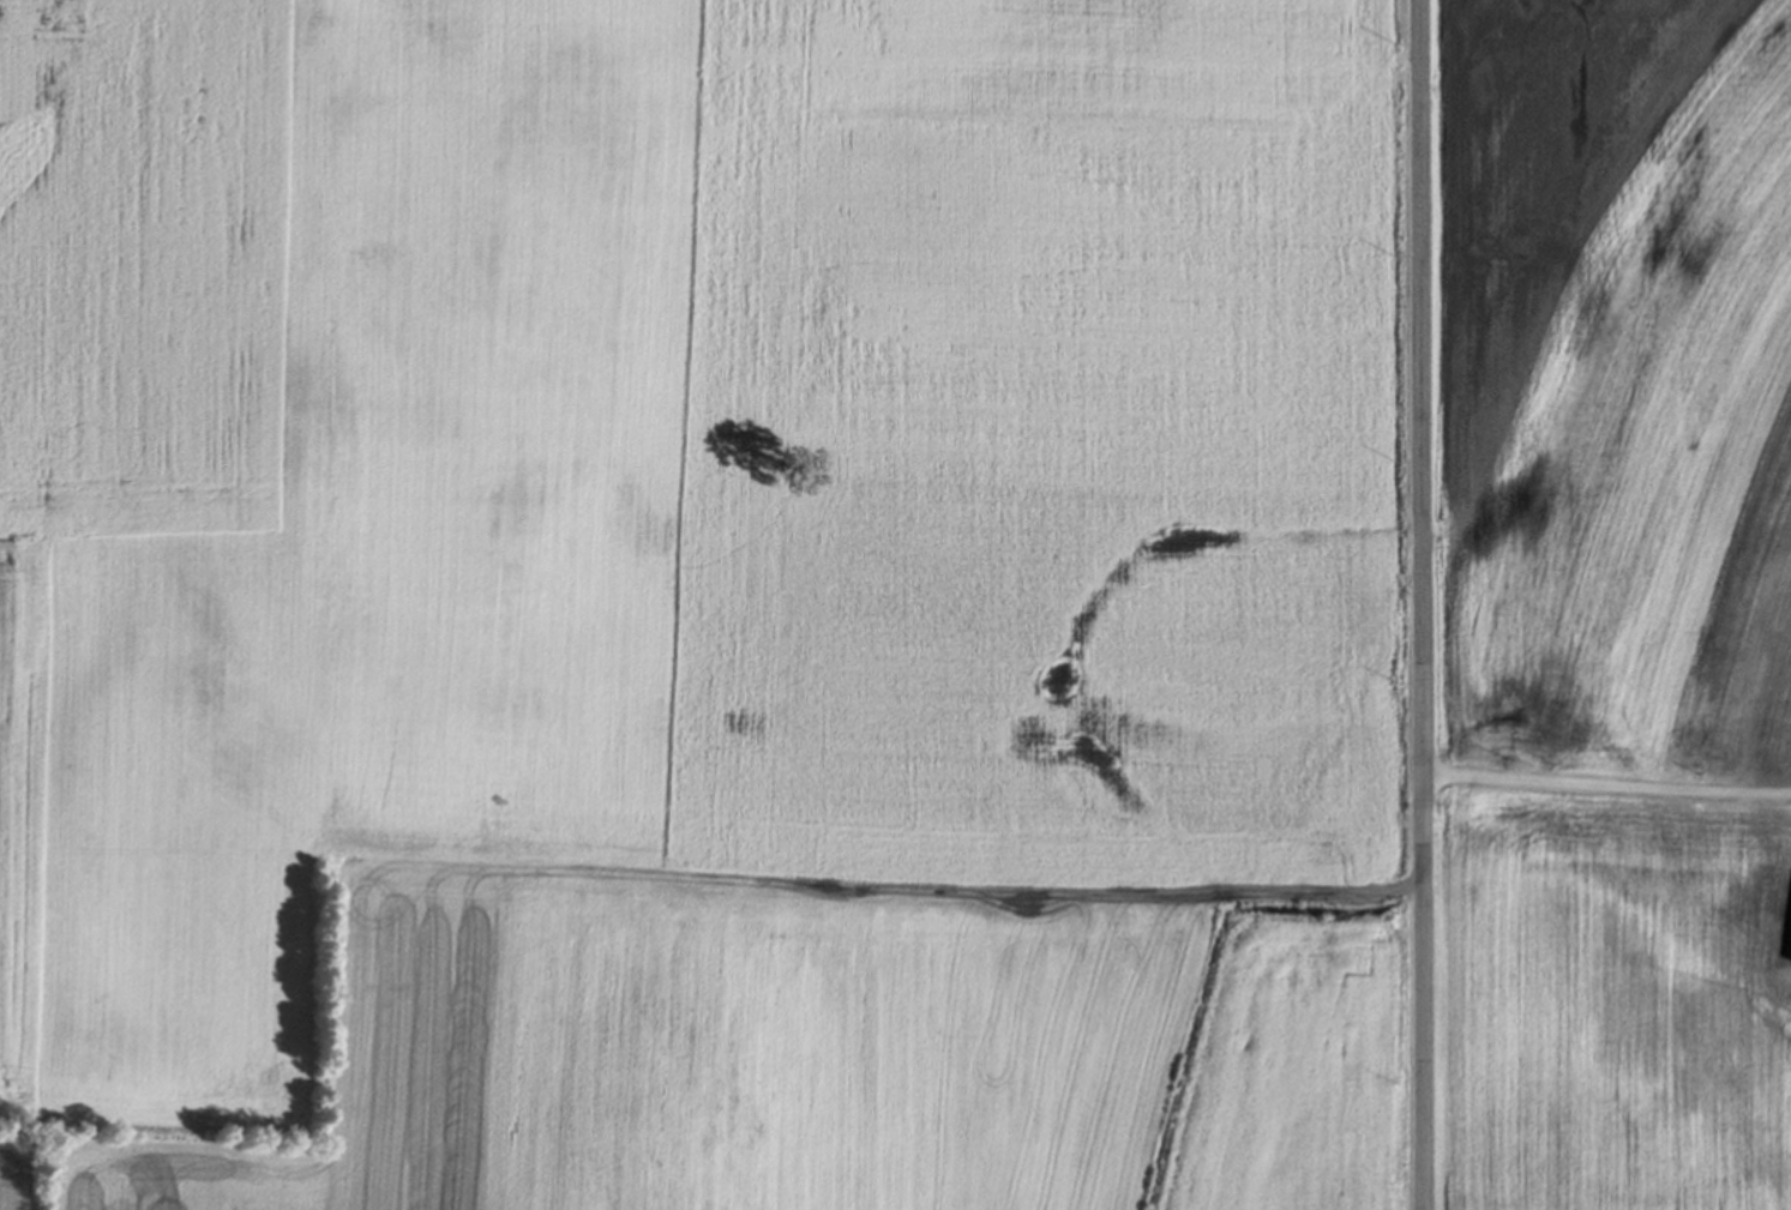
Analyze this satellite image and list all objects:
road: (1423, 604)
road: (1606, 783)

